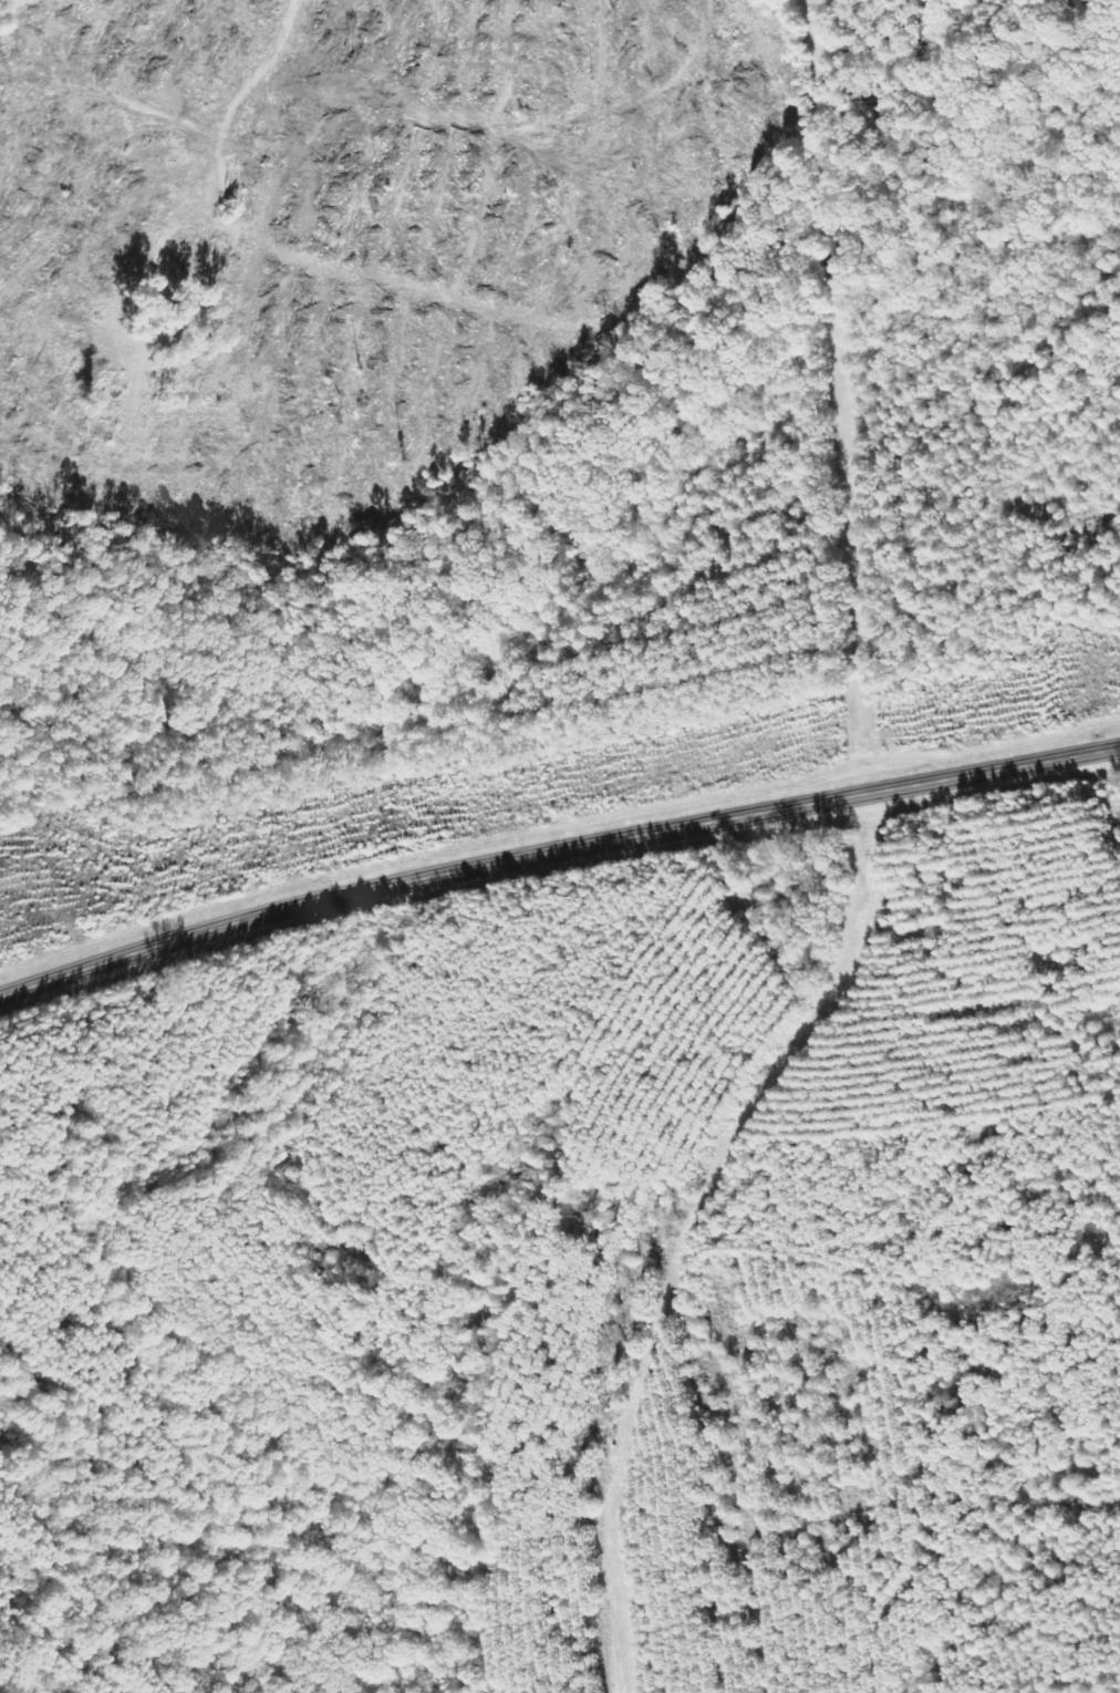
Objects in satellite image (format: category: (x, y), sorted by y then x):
road: (554, 849)

